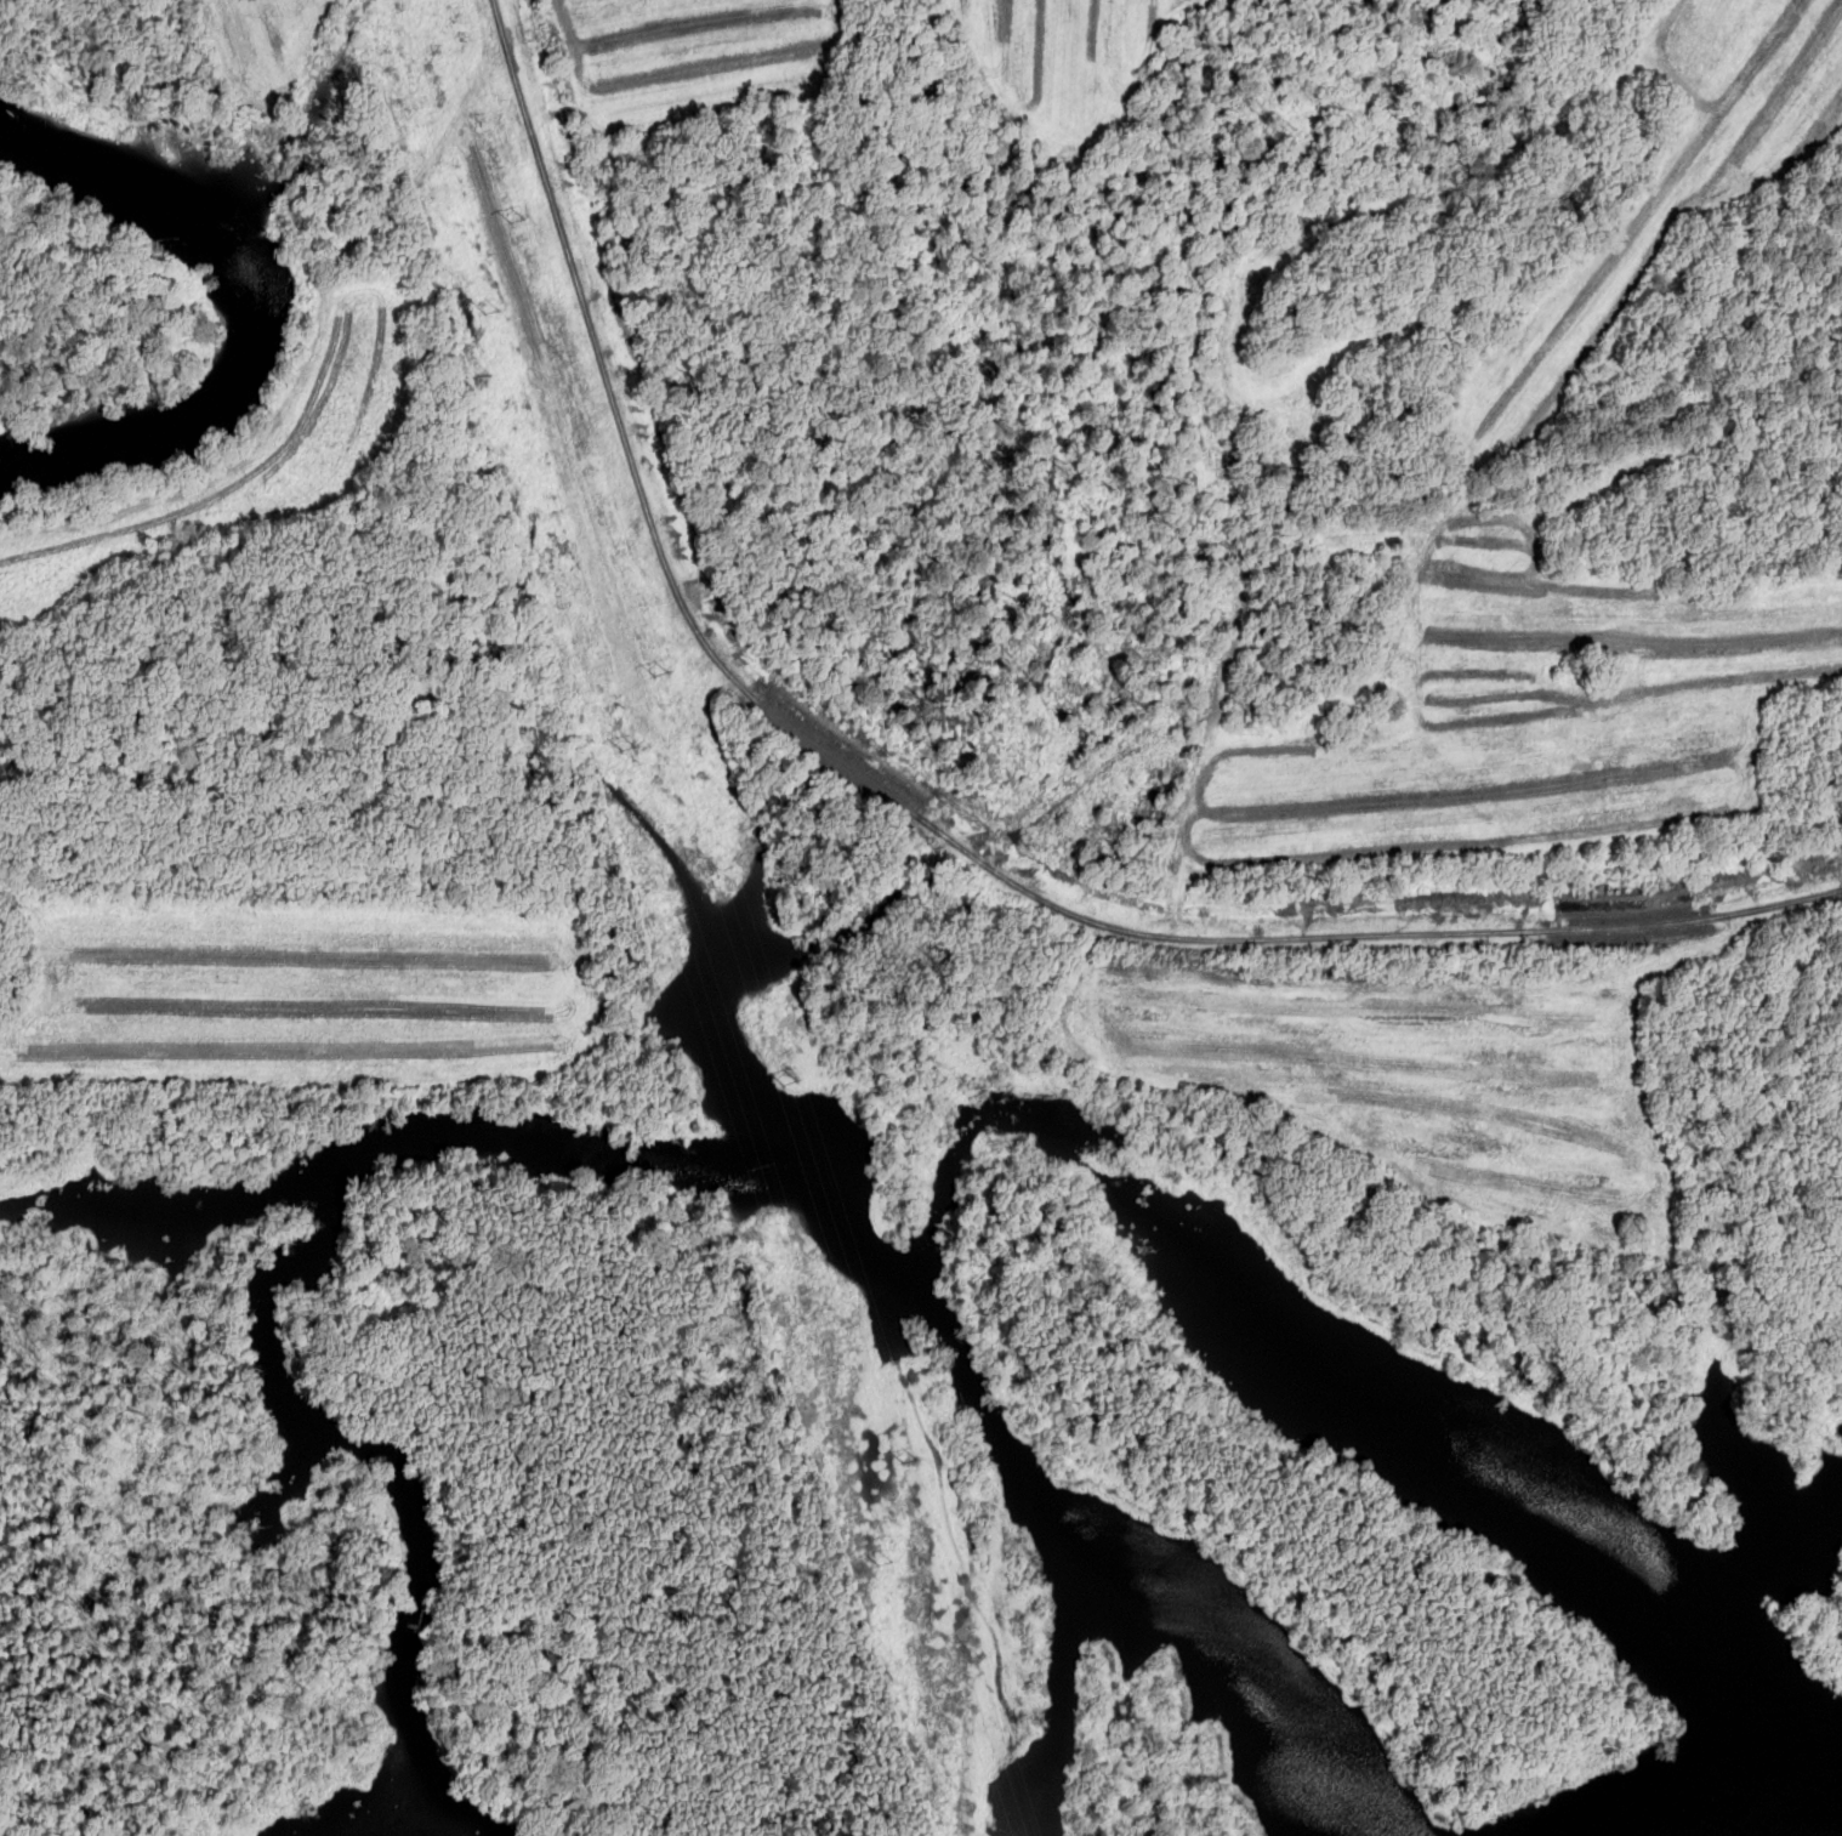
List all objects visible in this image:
crop: (280, 42)
power tower: (507, 205)
river: (258, 317)
power tower: (502, 317)
power tower: (649, 655)
power tower: (633, 762)
road: (921, 815)
power tower: (790, 1084)
power tower: (764, 1181)
power tower: (914, 1468)
power tower: (879, 1556)

